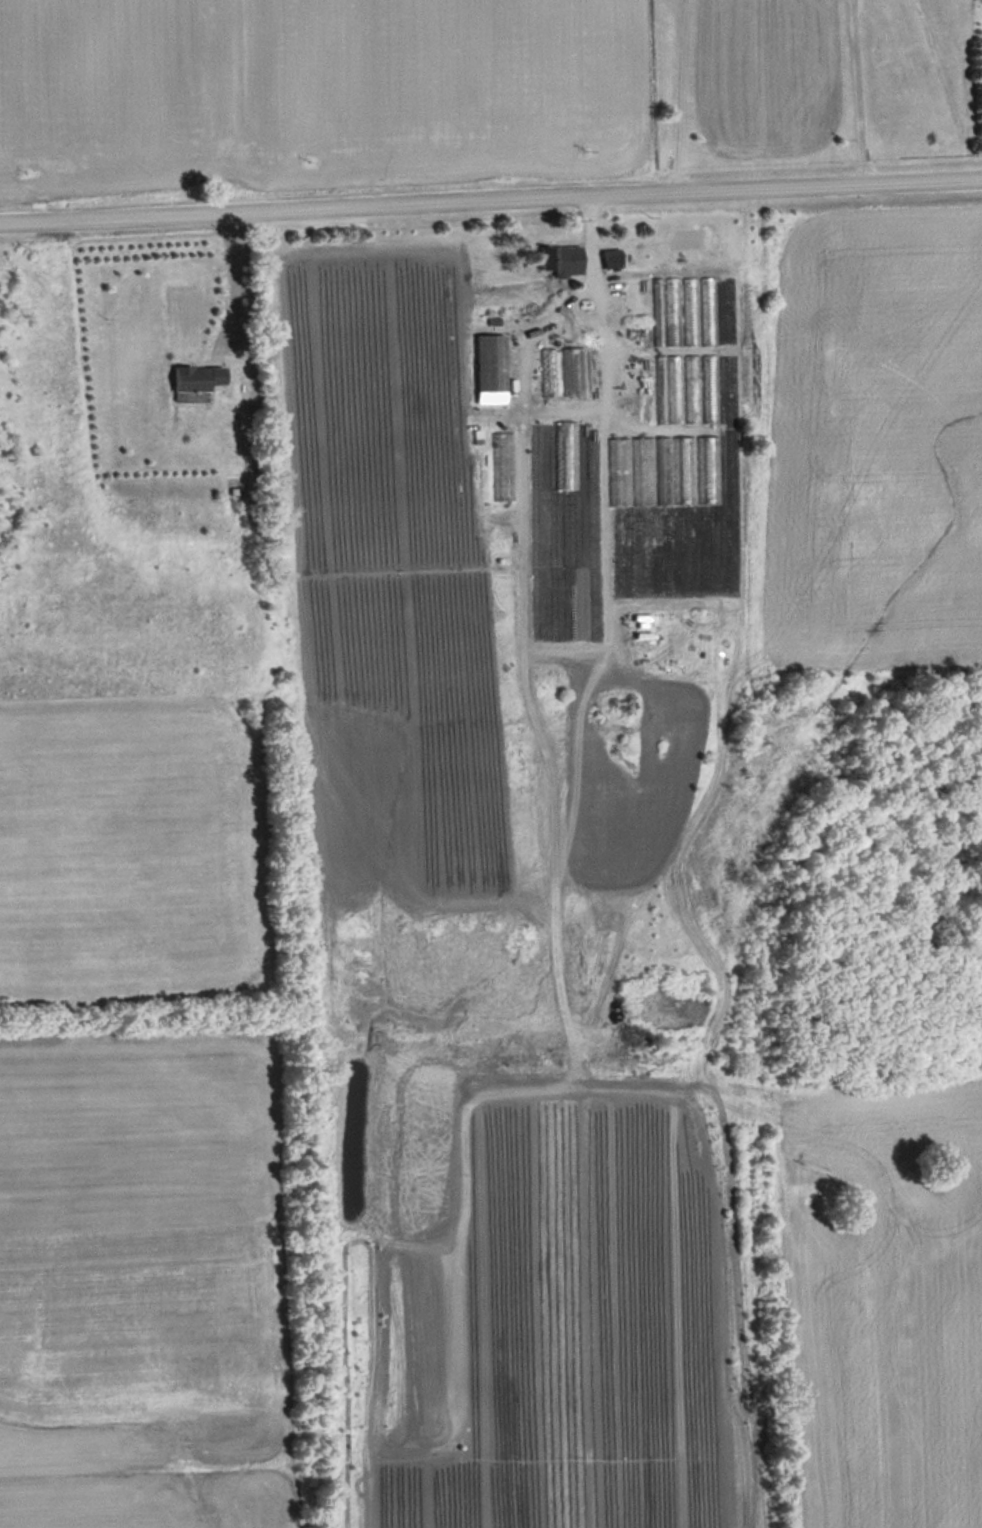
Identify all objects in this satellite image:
road: (491, 200)
building: (564, 260)
building: (576, 362)
building: (492, 371)
building: (200, 378)
building: (669, 389)
building: (659, 482)
building: (236, 489)

